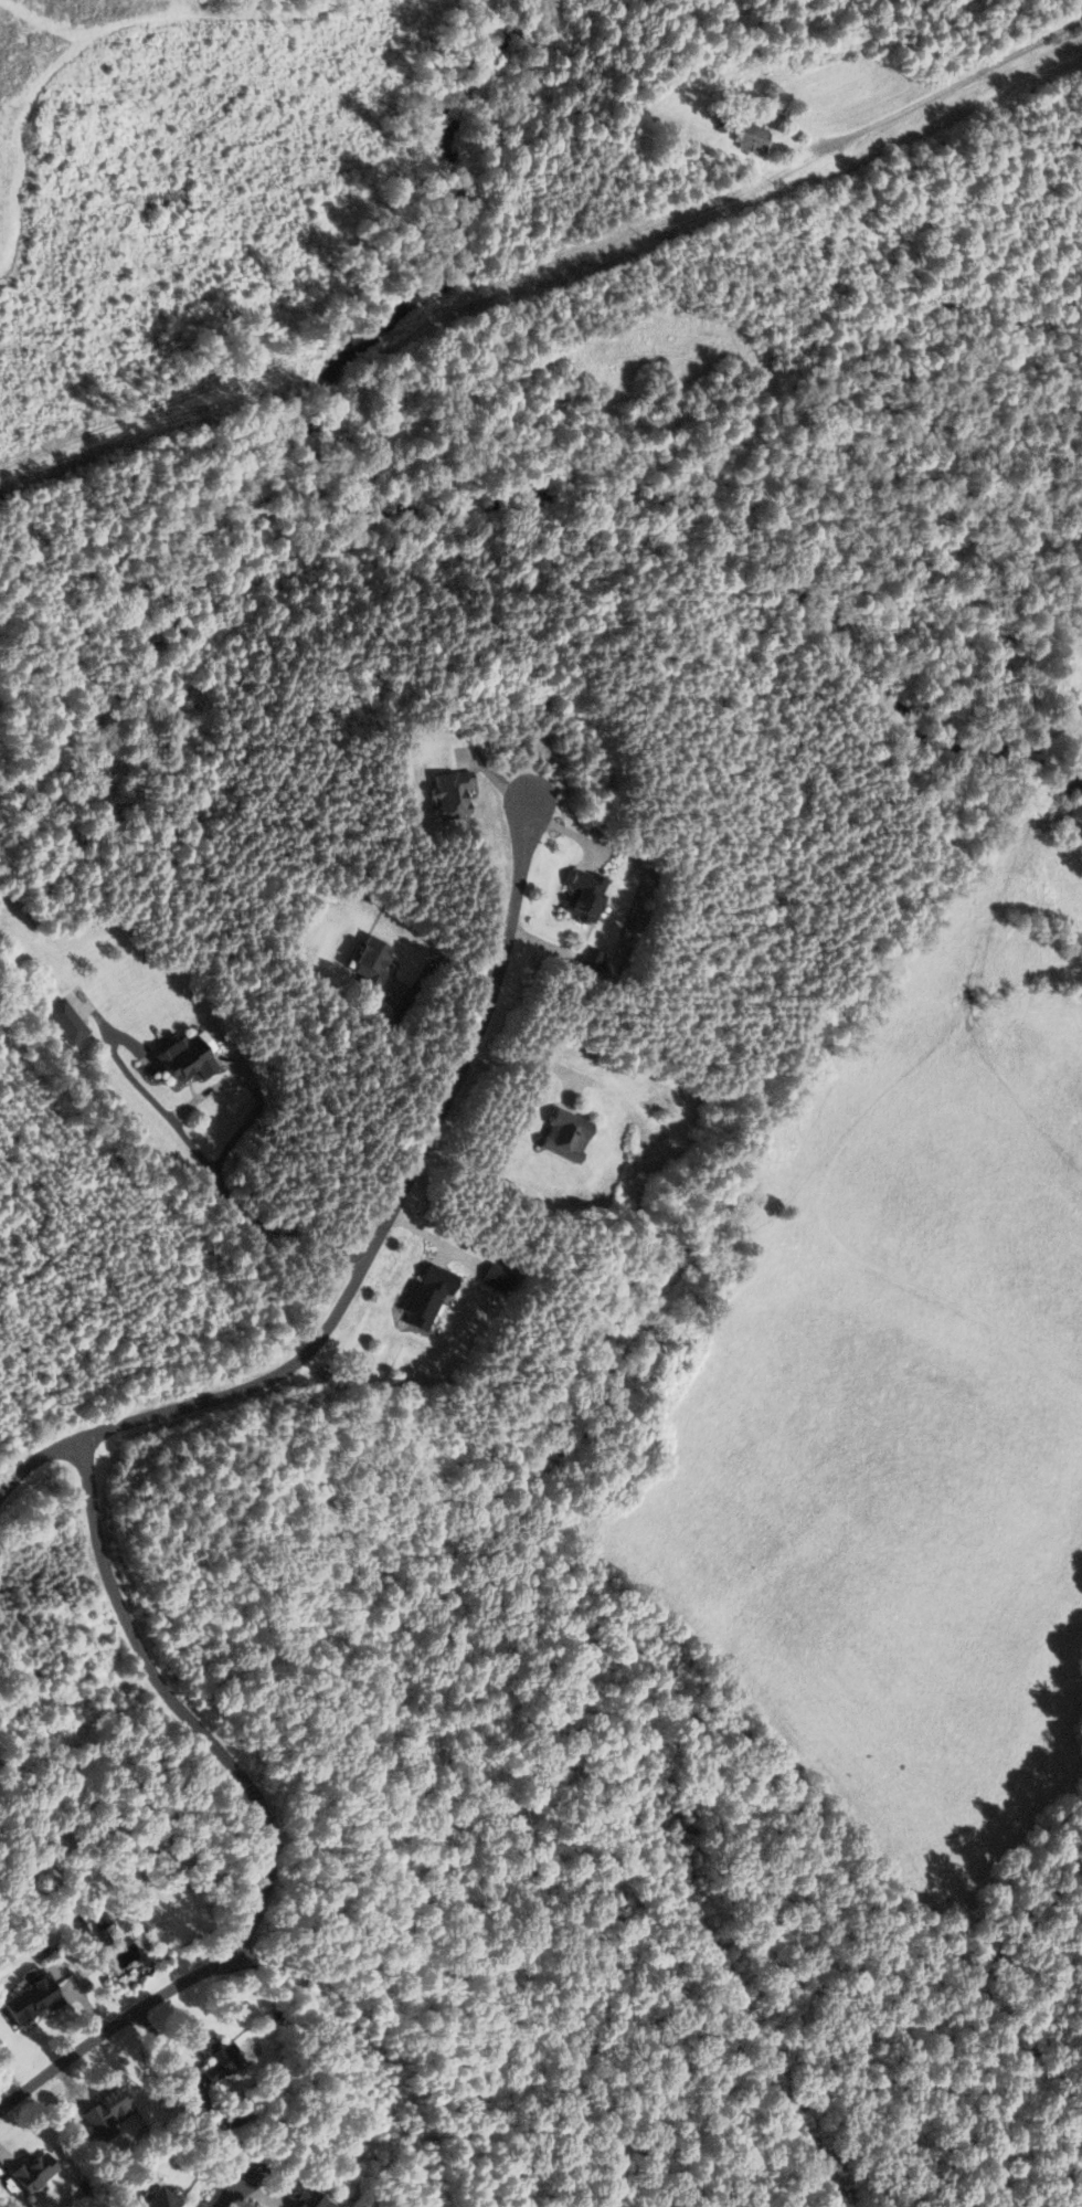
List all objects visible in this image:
building: (743, 134)
building: (445, 792)
building: (579, 895)
building: (363, 962)
building: (585, 962)
road: (407, 1000)
building: (62, 1022)
building: (179, 1059)
road: (254, 1108)
building: (559, 1134)
road: (393, 1198)
road: (234, 1202)
building: (495, 1280)
building: (421, 1296)
road: (32, 1461)
road: (176, 1704)
building: (26, 1998)
road: (113, 2023)
building: (214, 2059)
building: (103, 2110)
building: (29, 2169)
road: (229, 2190)
building: (297, 2196)
building: (156, 2198)

